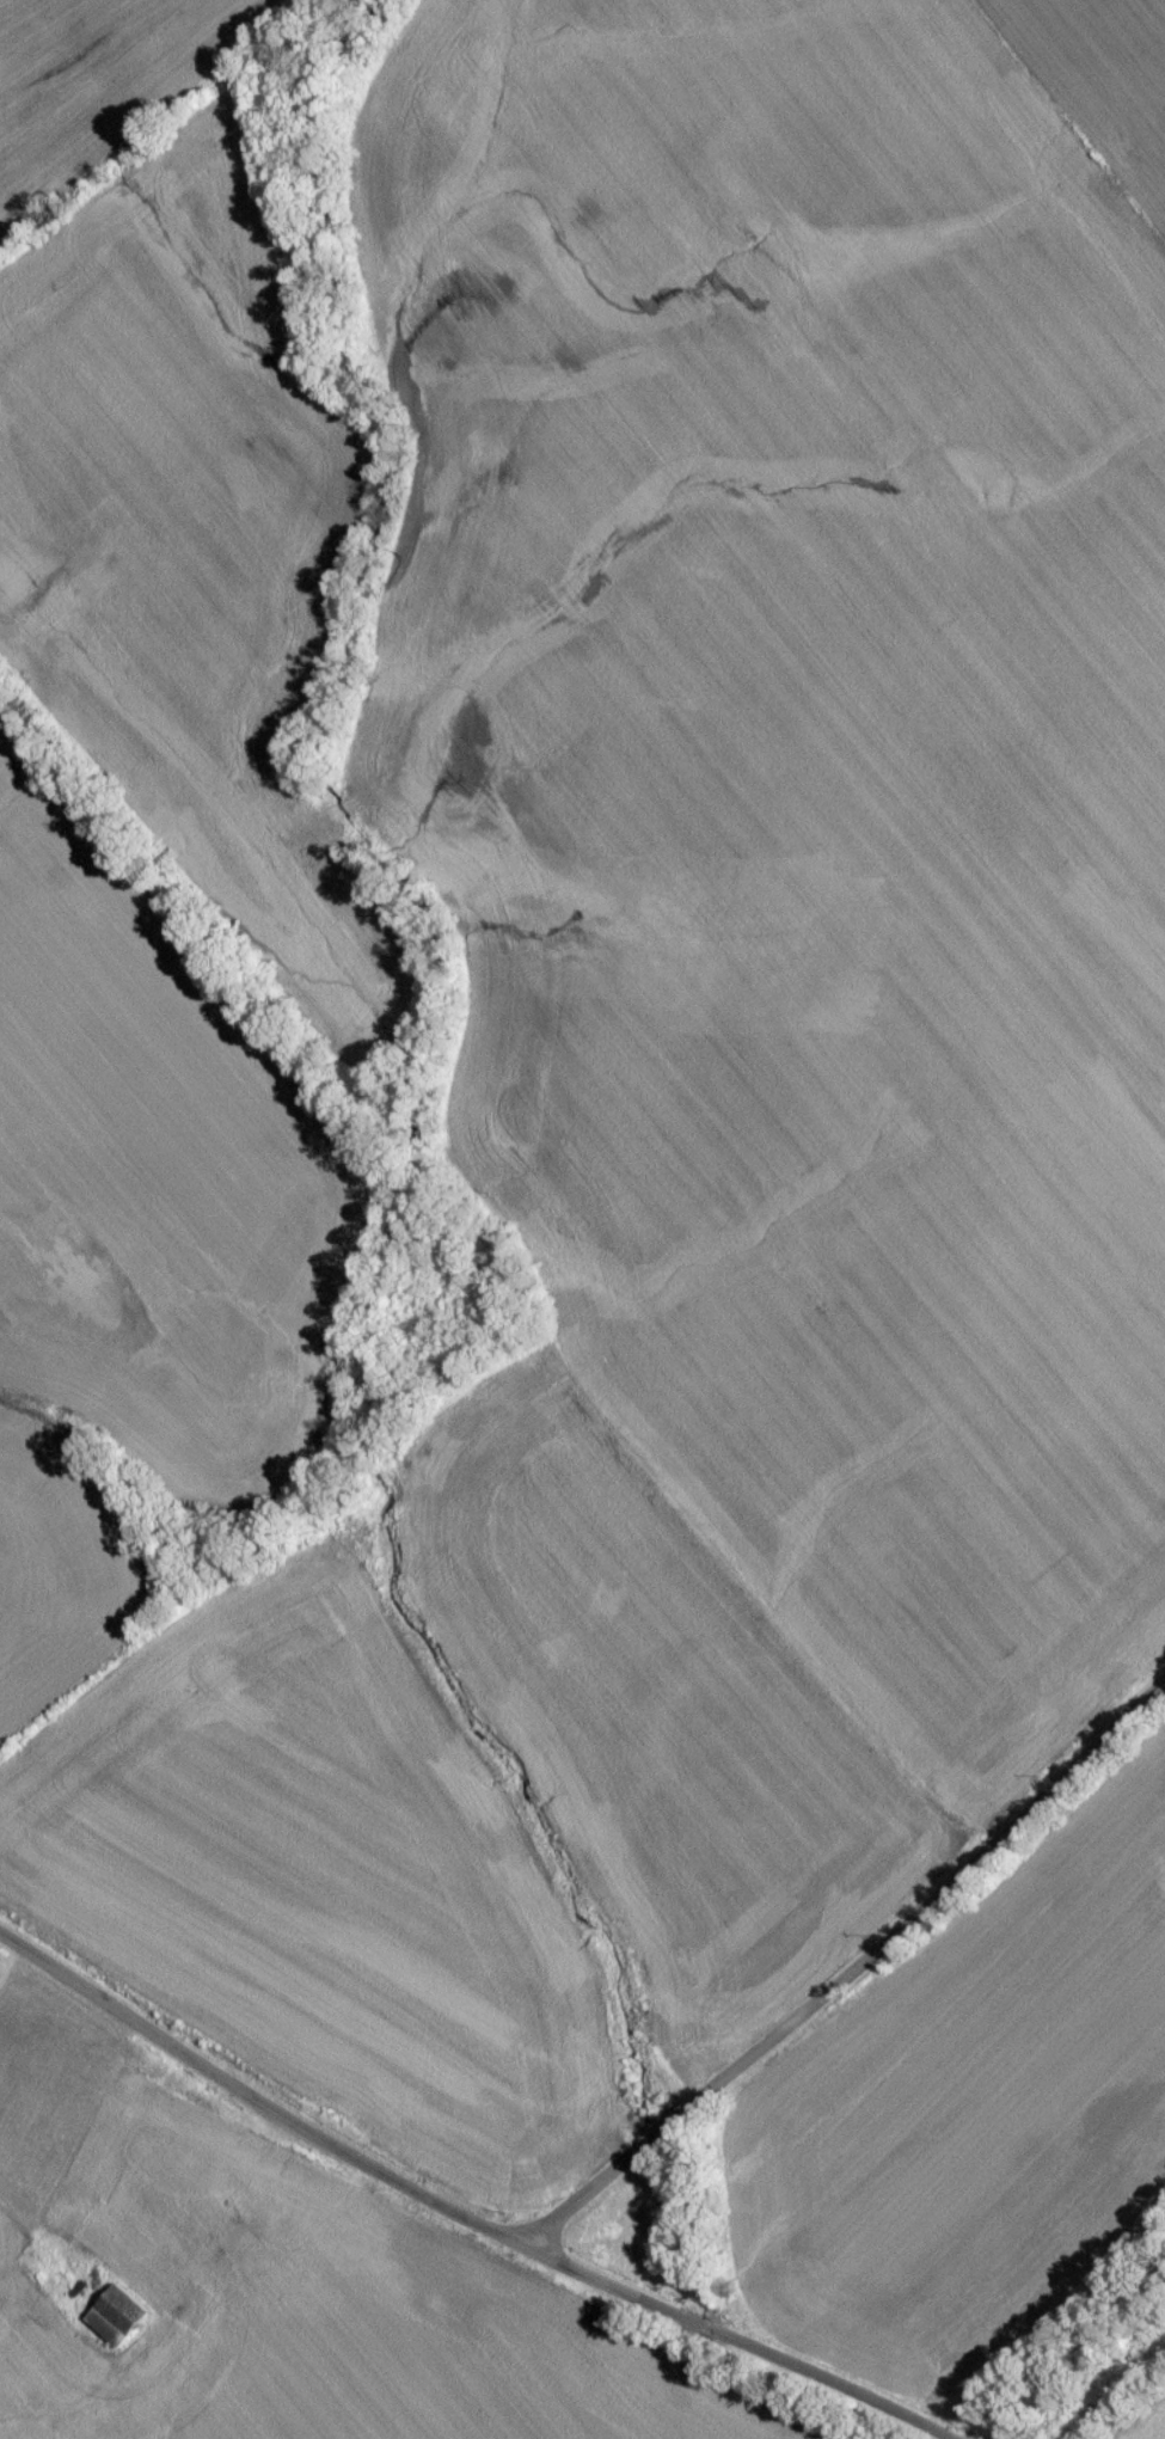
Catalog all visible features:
road: (852, 1975)
road: (454, 2219)
building: (118, 2323)

